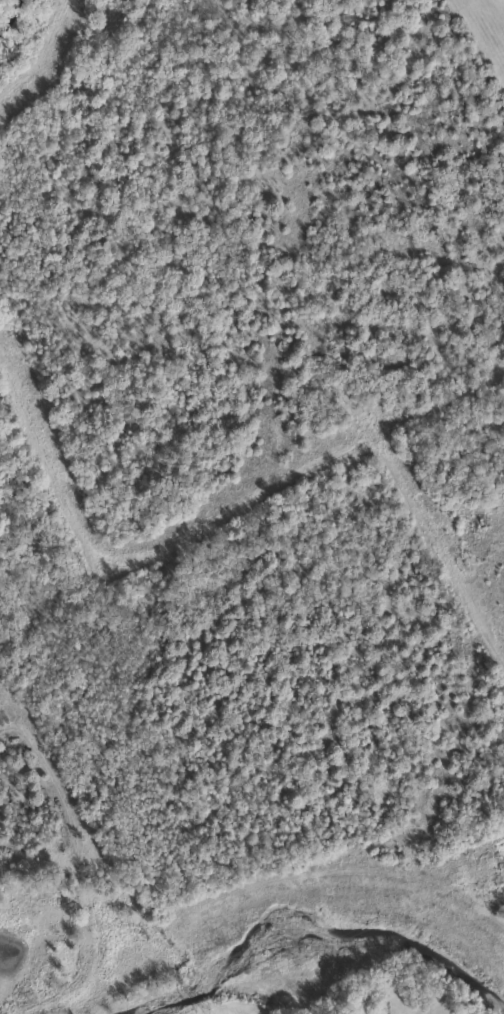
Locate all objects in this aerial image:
building: (378, 1007)
power tower: (205, 1009)

